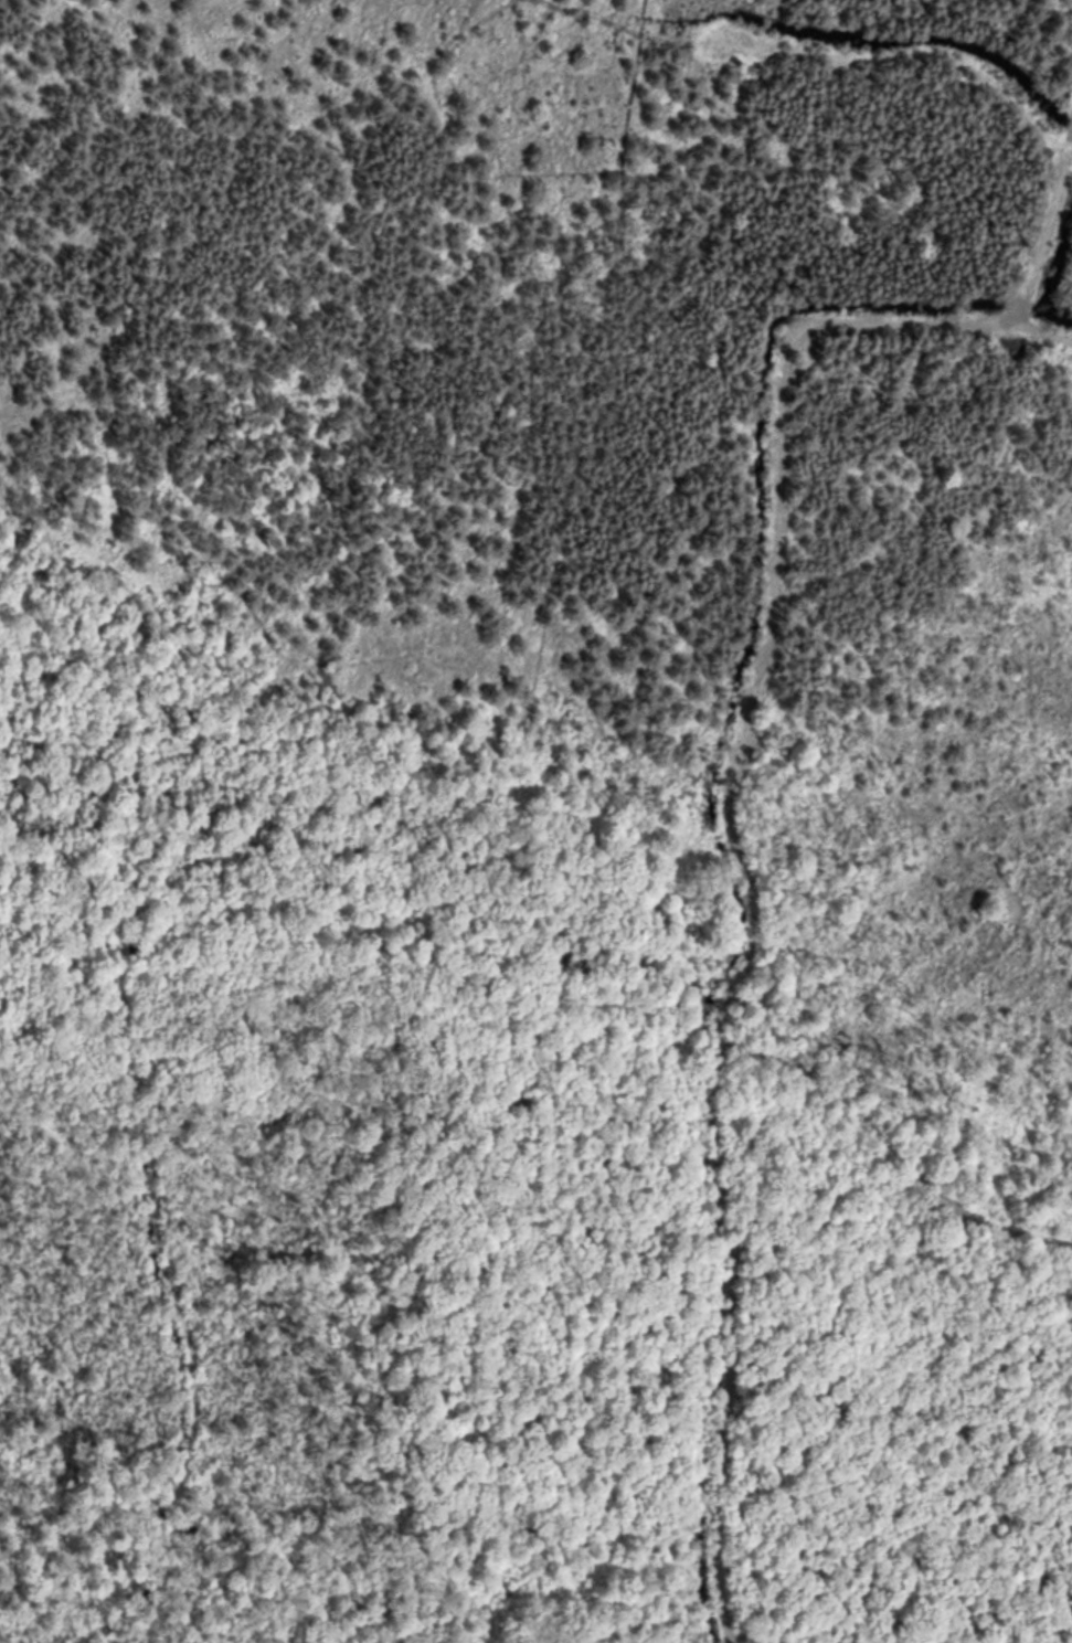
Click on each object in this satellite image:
road: (1034, 250)
road: (784, 426)

